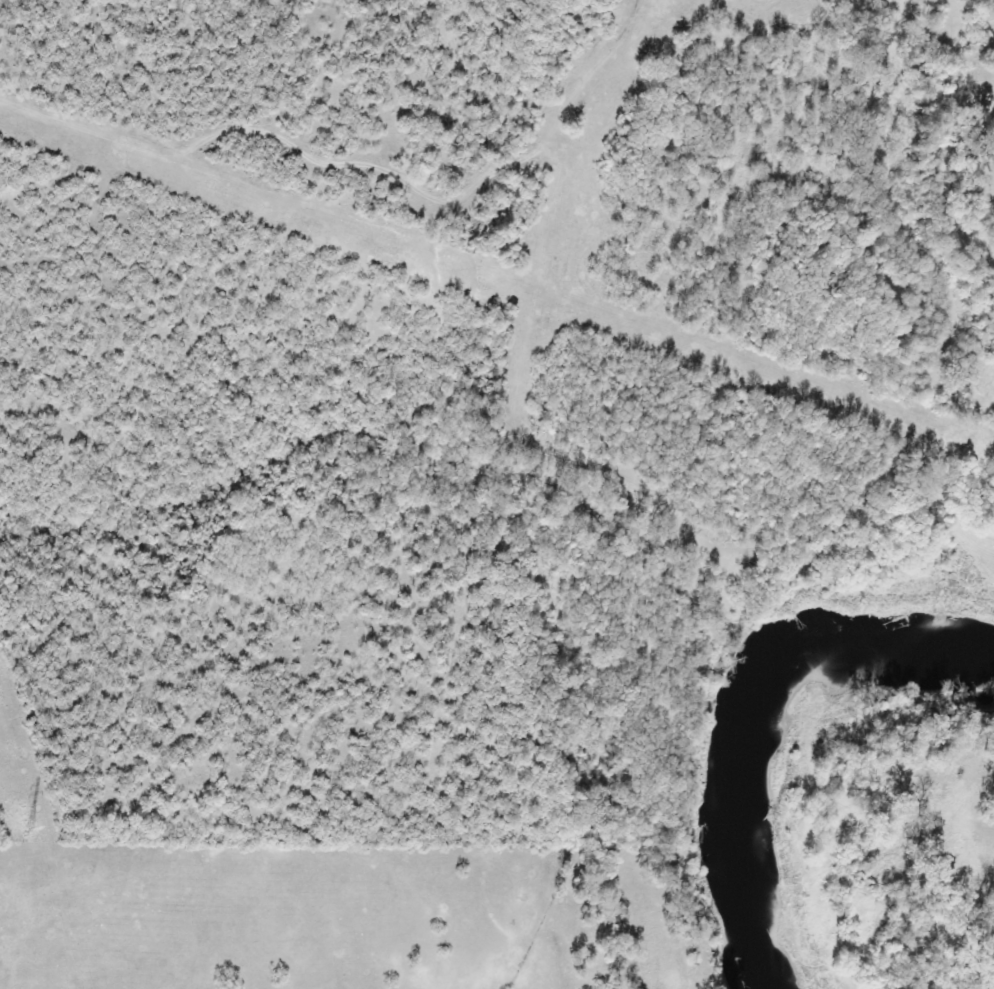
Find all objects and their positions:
river: (772, 738)
power tower: (27, 829)

